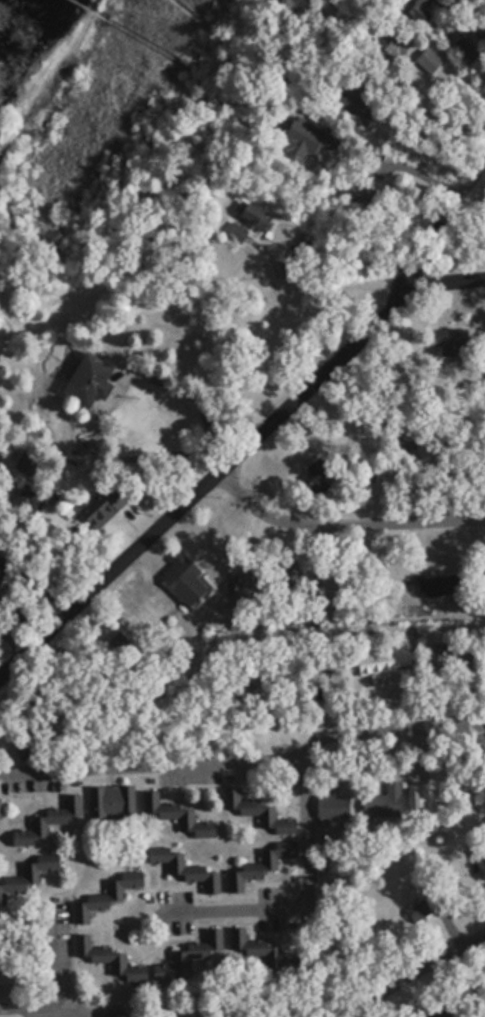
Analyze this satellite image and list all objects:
building: (417, 8)
building: (385, 44)
building: (428, 60)
building: (349, 103)
building: (304, 136)
building: (484, 200)
building: (246, 221)
road: (462, 257)
road: (445, 281)
road: (262, 289)
building: (440, 339)
building: (86, 381)
building: (400, 444)
building: (313, 478)
road: (202, 481)
road: (345, 516)
building: (181, 579)
building: (434, 585)
building: (152, 608)
building: (372, 663)
road: (391, 728)
building: (49, 733)
road: (152, 763)
building: (421, 797)
building: (111, 801)
building: (383, 801)
building: (329, 805)
building: (256, 812)
building: (173, 814)
building: (46, 822)
building: (476, 865)
building: (250, 868)
building: (28, 872)
building: (192, 872)
building: (92, 898)
road: (309, 904)
building: (401, 911)
building: (253, 948)
building: (203, 949)
building: (106, 957)
road: (60, 959)
road: (412, 978)
road: (20, 1007)
road: (80, 1014)
building: (196, 1015)

